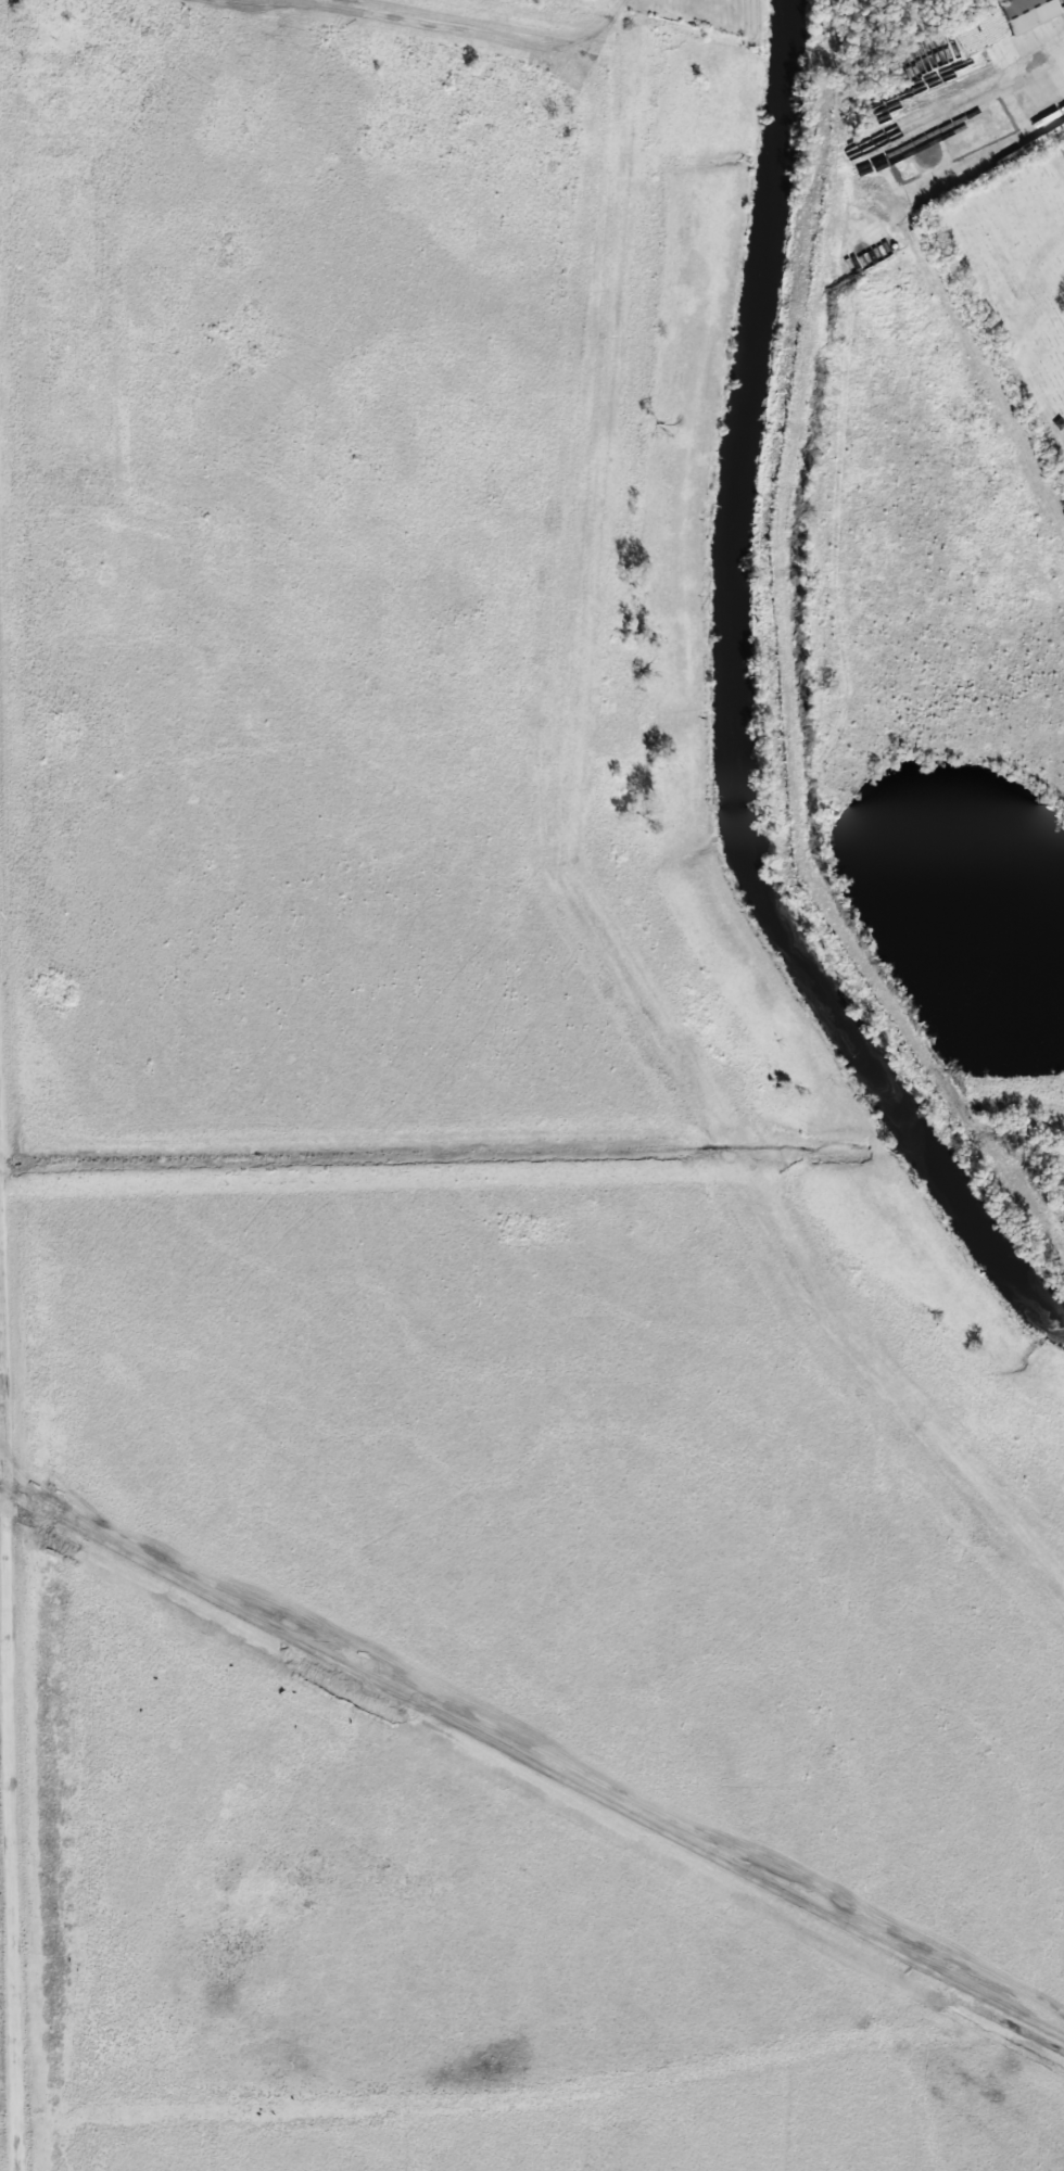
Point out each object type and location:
road: (1062, 109)

